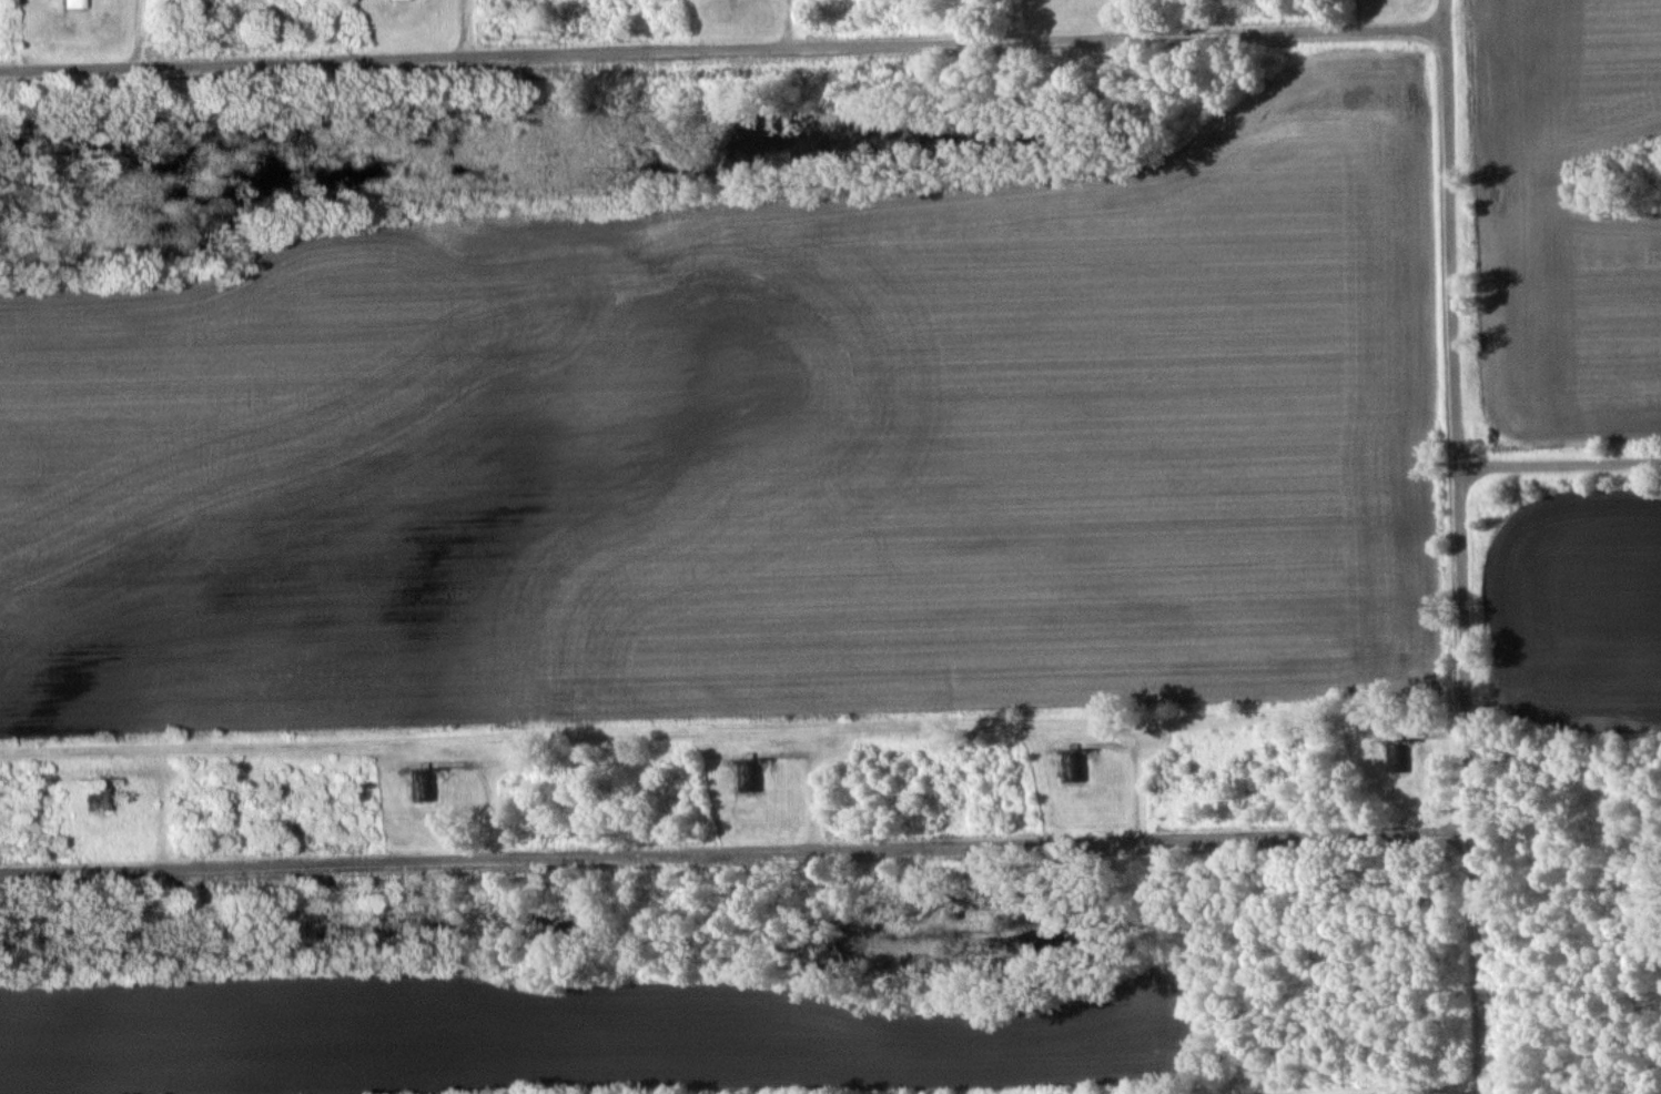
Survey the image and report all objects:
road: (720, 51)
road: (1559, 468)
road: (1460, 547)
building: (1073, 766)
road: (735, 851)

